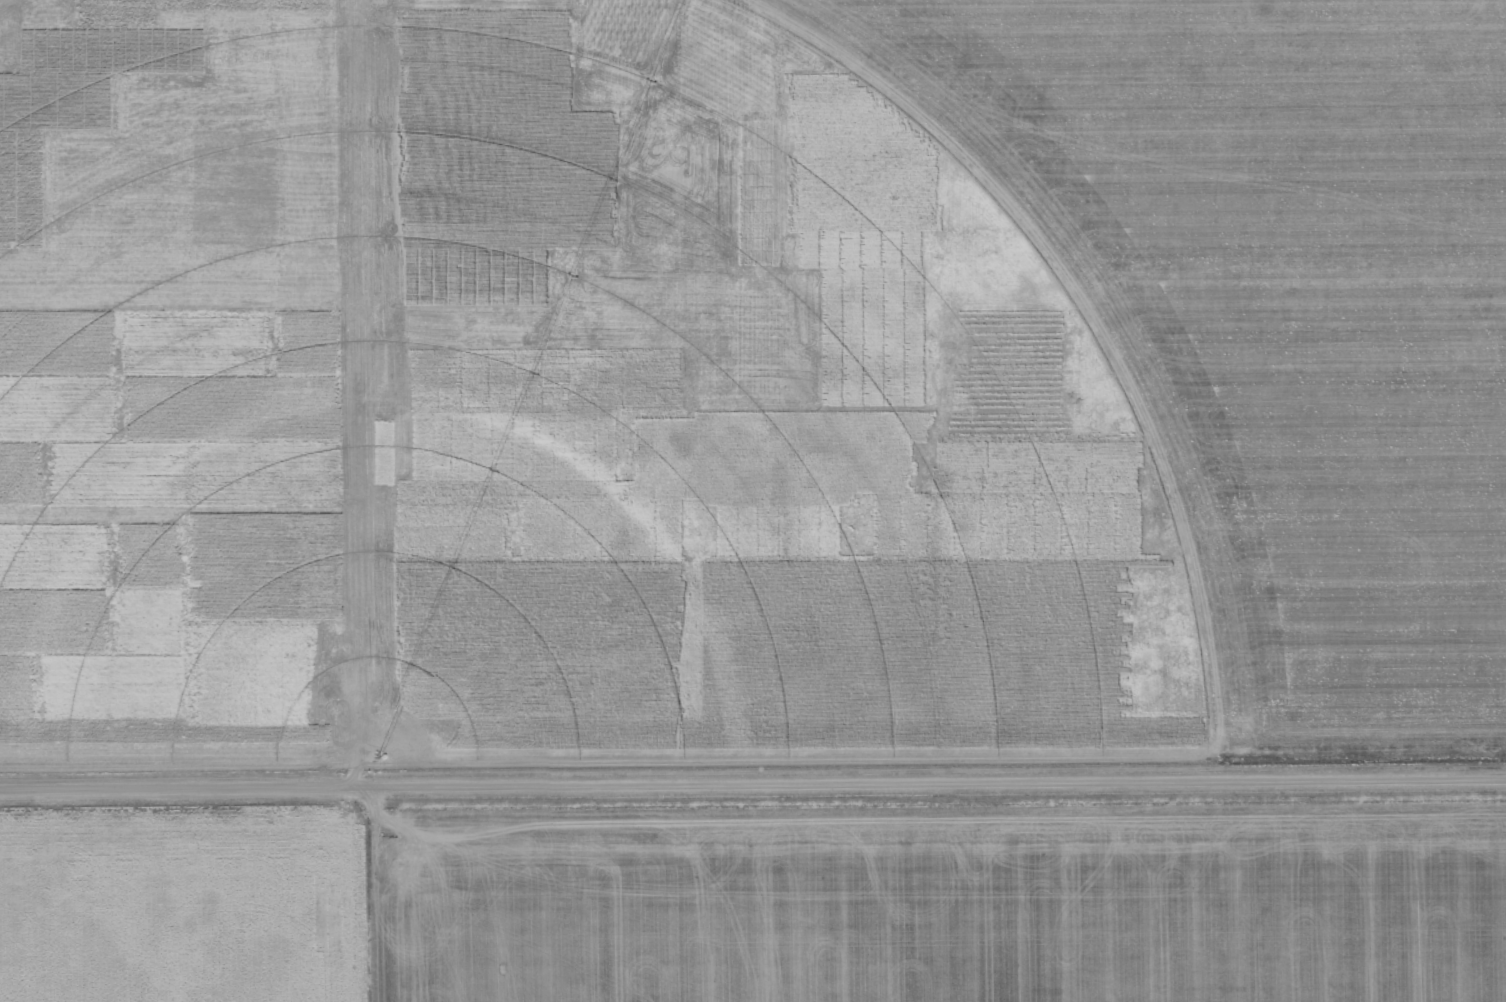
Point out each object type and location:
road: (752, 781)
road: (389, 893)

